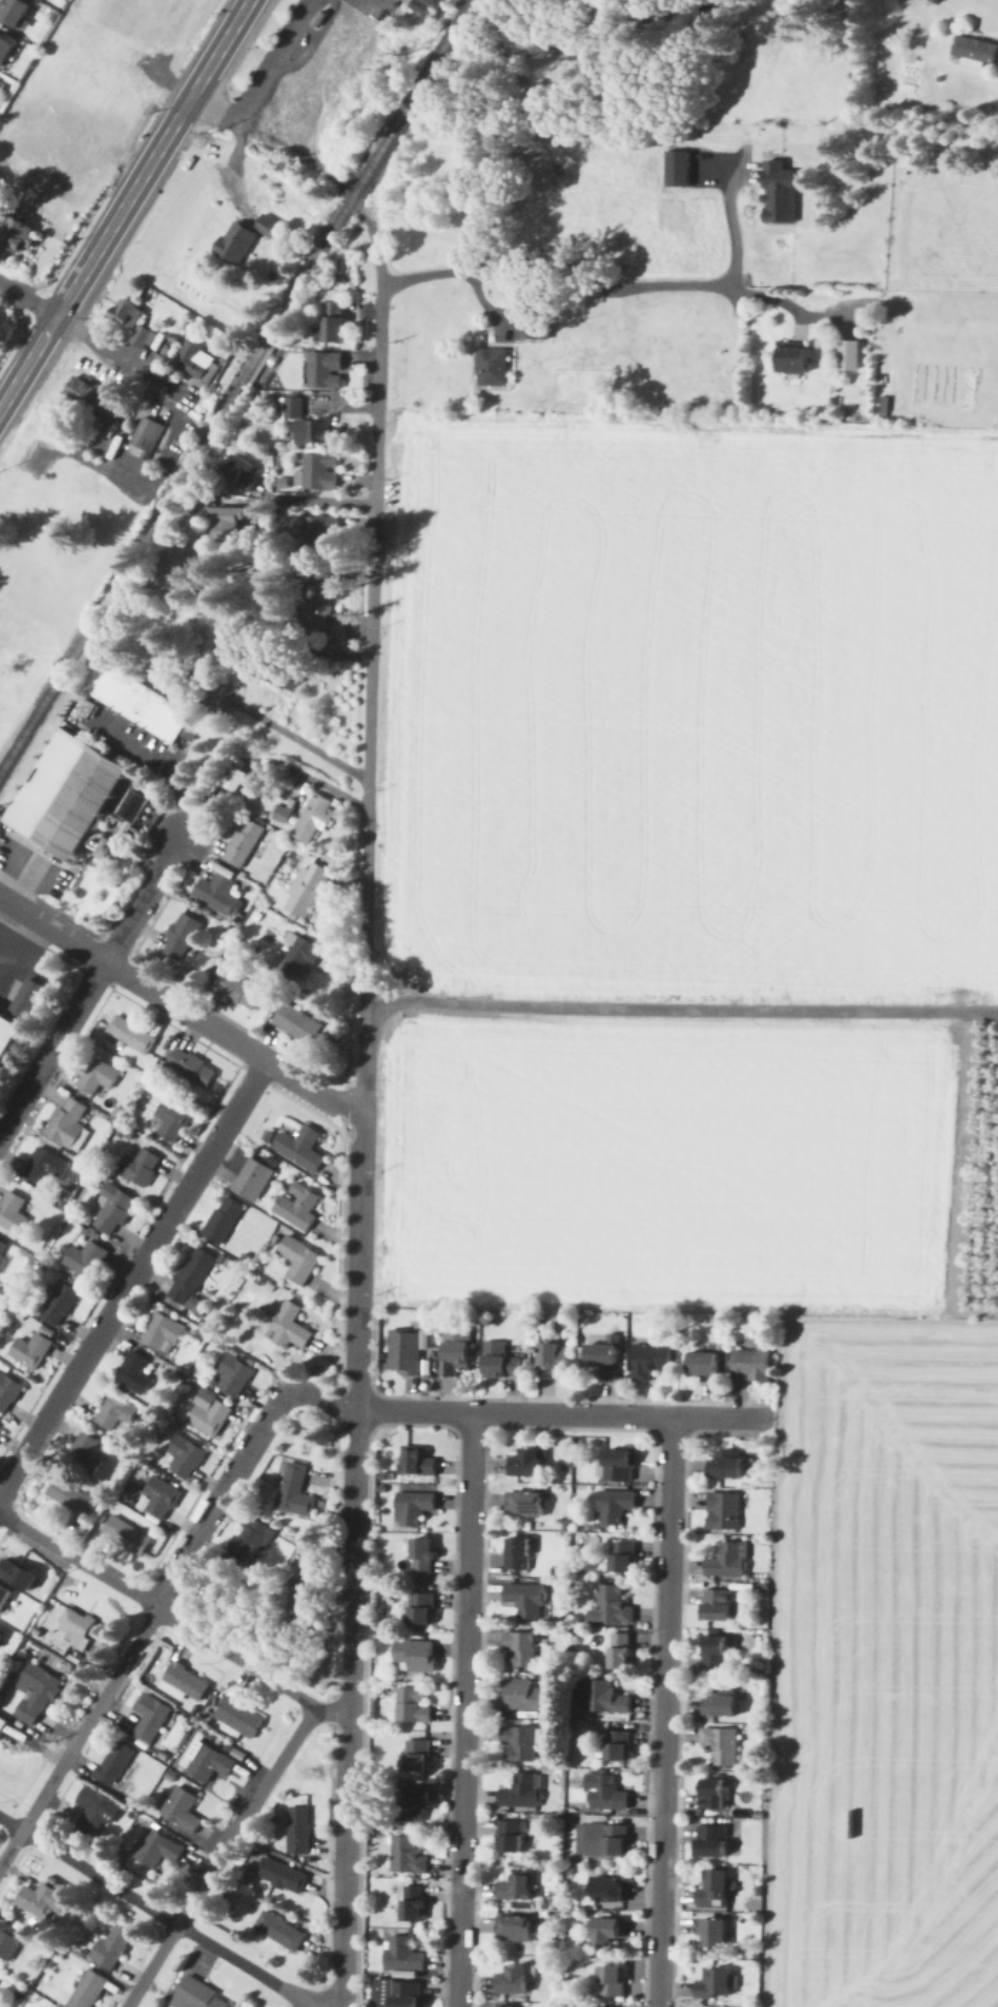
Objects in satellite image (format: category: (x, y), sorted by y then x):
road: (368, 3)
building: (429, 6)
building: (14, 13)
building: (5, 50)
building: (974, 51)
road: (210, 65)
road: (259, 85)
building: (679, 165)
road: (234, 170)
building: (1, 180)
building: (777, 193)
road: (727, 230)
building: (18, 236)
building: (243, 239)
road: (84, 268)
road: (591, 289)
road: (27, 299)
road: (502, 311)
building: (132, 322)
building: (334, 323)
building: (536, 334)
building: (854, 353)
road: (120, 356)
building: (793, 358)
building: (197, 363)
building: (490, 367)
building: (325, 370)
railway: (234, 386)
building: (86, 395)
building: (303, 424)
building: (143, 439)
building: (319, 473)
building: (240, 474)
road: (318, 502)
building: (229, 525)
building: (320, 533)
building: (316, 610)
road: (370, 666)
building: (168, 679)
building: (142, 705)
building: (89, 706)
road: (284, 728)
building: (236, 780)
building: (65, 796)
building: (135, 803)
building: (281, 815)
building: (311, 818)
building: (242, 843)
building: (106, 853)
building: (306, 890)
building: (215, 897)
road: (141, 901)
building: (180, 937)
building: (299, 958)
building: (237, 991)
building: (26, 998)
road: (680, 1008)
road: (180, 1009)
building: (297, 1024)
building: (7, 1032)
building: (130, 1034)
crop: (716, 1038)
road: (52, 1047)
building: (190, 1067)
building: (96, 1076)
building: (65, 1118)
building: (171, 1119)
building: (300, 1147)
building: (40, 1166)
building: (138, 1166)
building: (253, 1179)
building: (296, 1206)
building: (111, 1209)
road: (363, 1210)
building: (12, 1213)
building: (222, 1220)
building: (2, 1246)
building: (85, 1259)
building: (298, 1260)
road: (132, 1276)
building: (191, 1280)
building: (58, 1302)
building: (290, 1326)
building: (161, 1333)
building: (32, 1348)
building: (457, 1352)
building: (404, 1353)
building: (604, 1359)
building: (499, 1361)
building: (553, 1361)
building: (649, 1361)
building: (703, 1365)
building: (751, 1366)
building: (134, 1372)
building: (231, 1375)
building: (7, 1392)
building: (115, 1410)
road: (563, 1414)
building: (208, 1417)
building: (0, 1423)
building: (0, 1429)
building: (83, 1455)
building: (184, 1456)
building: (417, 1461)
building: (527, 1463)
building: (619, 1463)
building: (725, 1464)
building: (292, 1491)
building: (70, 1497)
building: (158, 1498)
building: (526, 1504)
building: (614, 1505)
building: (413, 1507)
building: (723, 1510)
building: (125, 1535)
building: (249, 1542)
building: (517, 1553)
building: (423, 1556)
building: (621, 1556)
building: (727, 1560)
building: (24, 1573)
building: (6, 1596)
road: (161, 1596)
building: (526, 1600)
building: (612, 1605)
building: (718, 1605)
building: (421, 1610)
road: (174, 1619)
building: (80, 1627)
building: (3, 1637)
building: (519, 1650)
building: (716, 1650)
building: (620, 1652)
building: (414, 1656)
road: (351, 1658)
building: (183, 1683)
building: (39, 1691)
building: (524, 1695)
building: (603, 1698)
building: (721, 1703)
building: (412, 1705)
road: (464, 1710)
road: (664, 1712)
building: (238, 1717)
building: (151, 1719)
building: (4, 1725)
building: (518, 1744)
building: (720, 1745)
building: (617, 1747)
building: (417, 1756)
building: (112, 1763)
building: (209, 1764)
building: (521, 1792)
building: (607, 1794)
building: (712, 1797)
building: (413, 1804)
building: (181, 1810)
building: (92, 1811)
building: (298, 1831)
building: (510, 1837)
building: (601, 1840)
building: (712, 1841)
building: (156, 1849)
building: (406, 1856)
road: (219, 1857)
building: (278, 1875)
building: (515, 1888)
building: (608, 1889)
building: (714, 1889)
building: (45, 1896)
building: (413, 1904)
road: (155, 1912)
building: (516, 1929)
building: (278, 1931)
building: (608, 1932)
building: (713, 1932)
building: (10, 1938)
building: (111, 1945)
building: (402, 1955)
building: (514, 1980)
building: (612, 1982)
building: (714, 1986)
building: (86, 1990)
building: (406, 1994)
building: (198, 1996)
building: (511, 2006)

